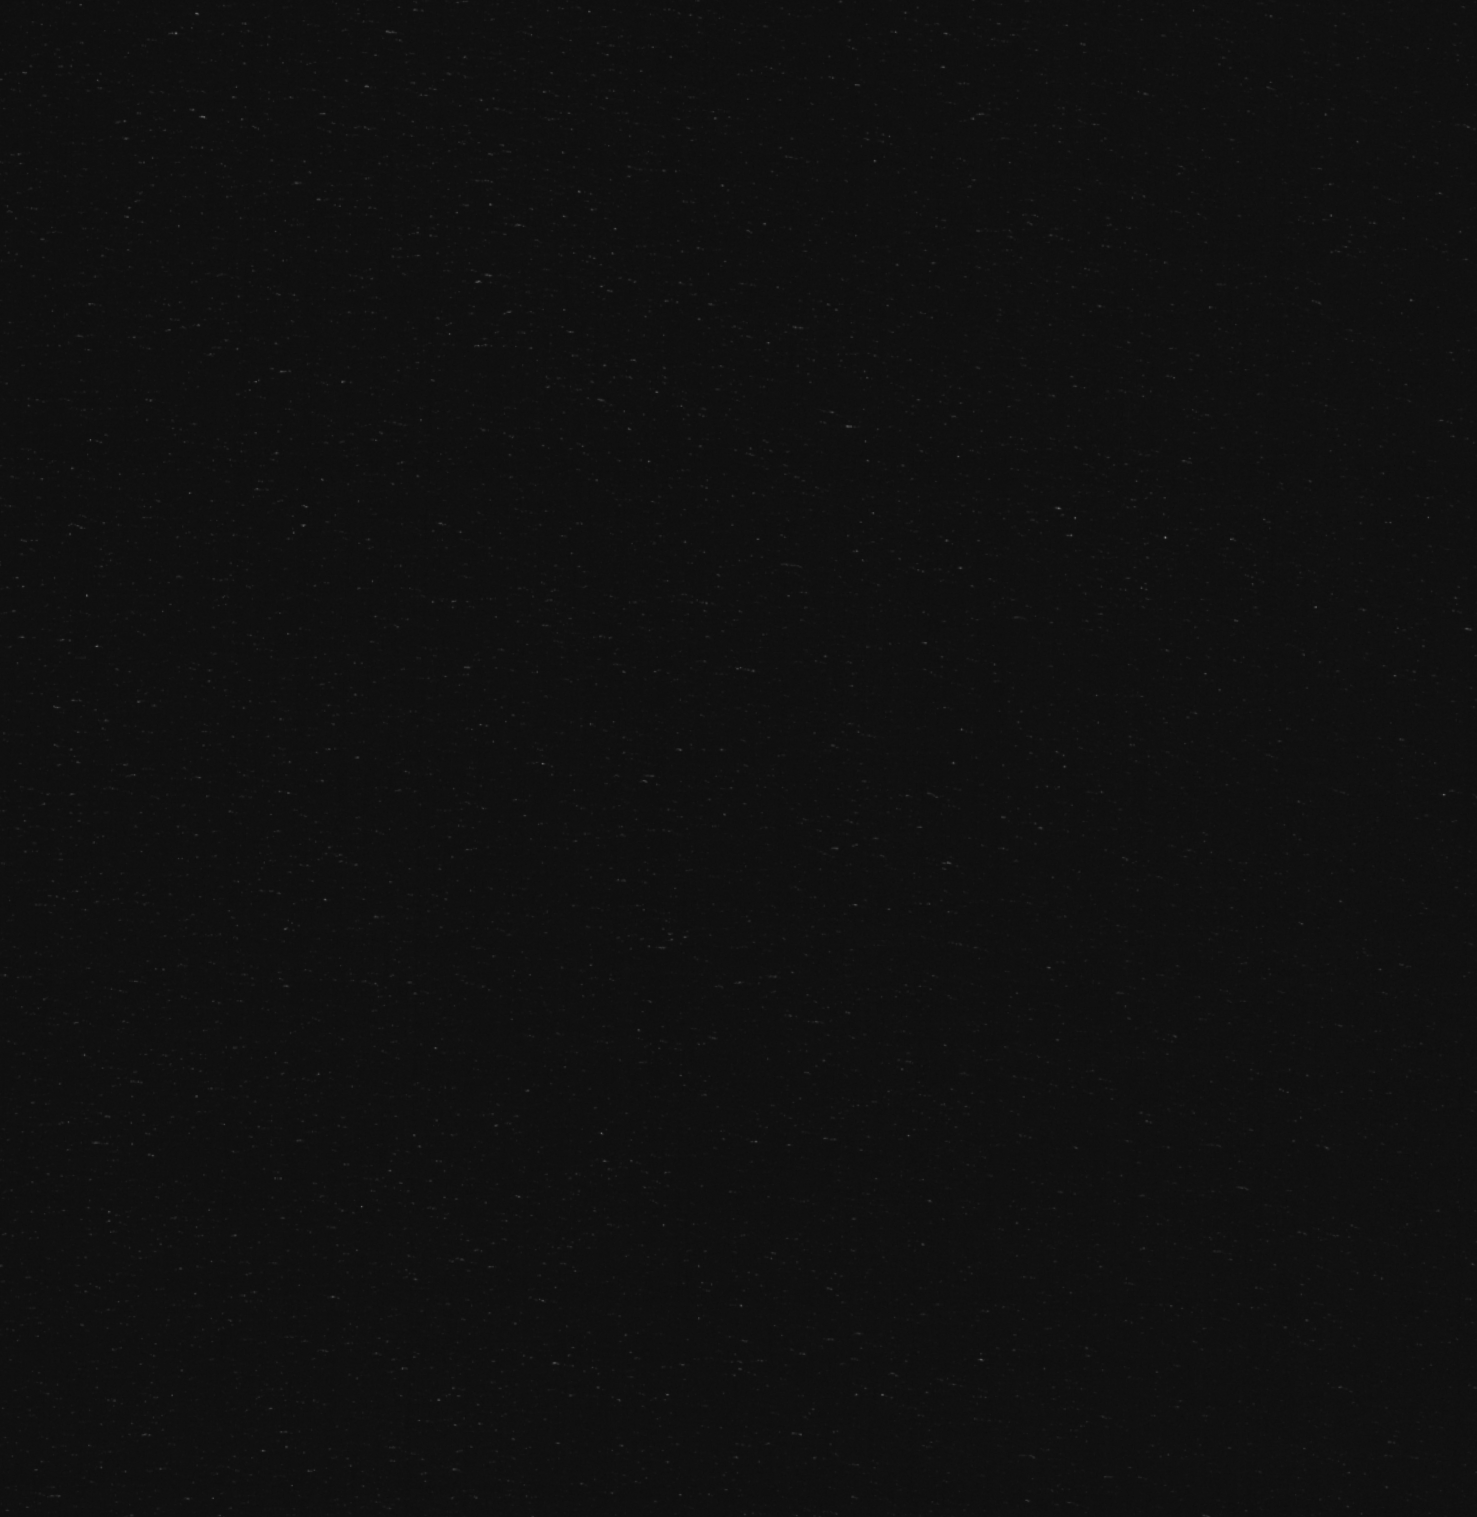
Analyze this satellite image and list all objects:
river: (1431, 1456)

